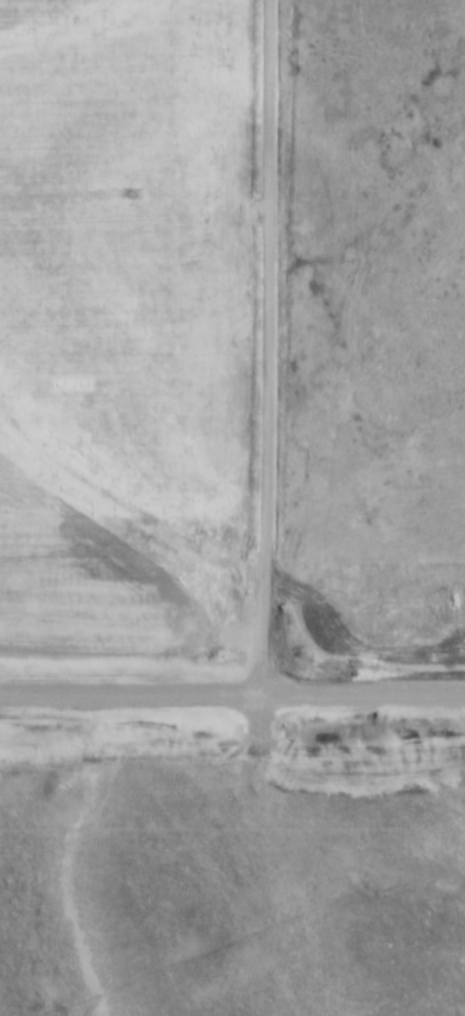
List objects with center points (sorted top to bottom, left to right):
road: (271, 346)
road: (232, 692)

